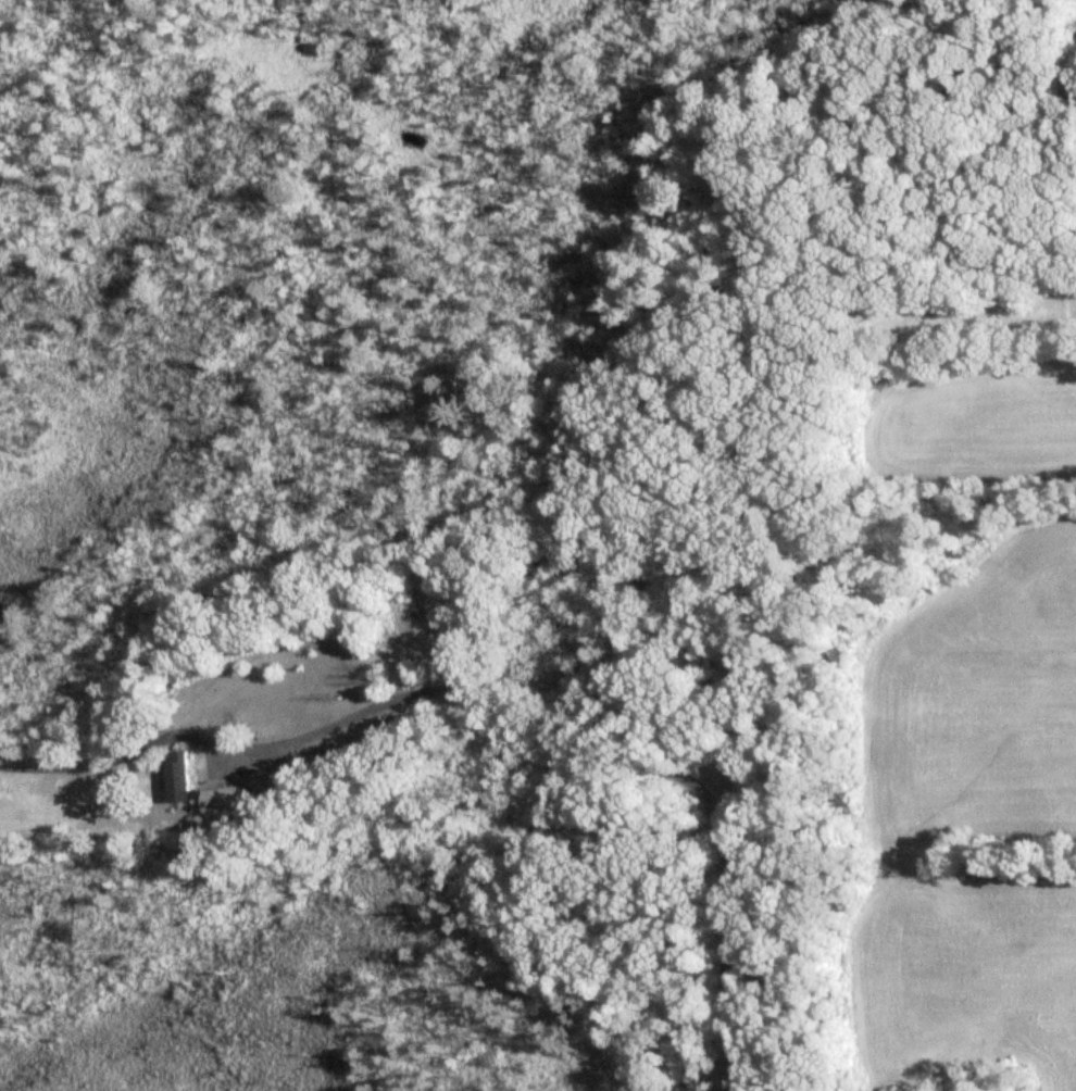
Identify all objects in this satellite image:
road: (138, 744)
road: (610, 750)
building: (177, 779)
building: (228, 800)

